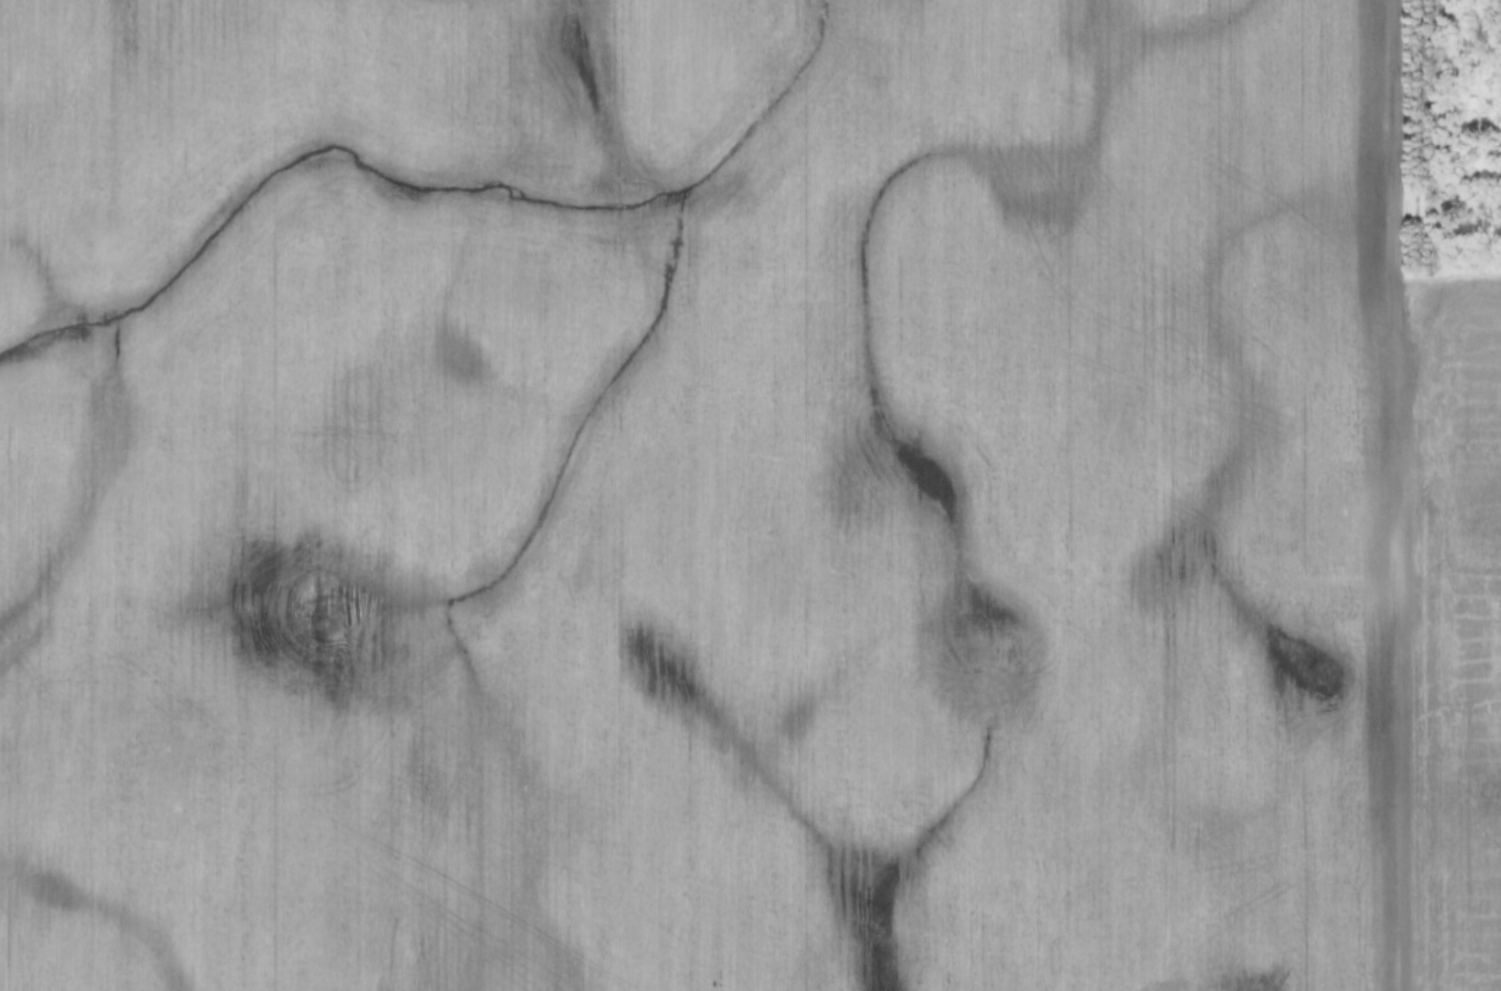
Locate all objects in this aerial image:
road: (1395, 495)

